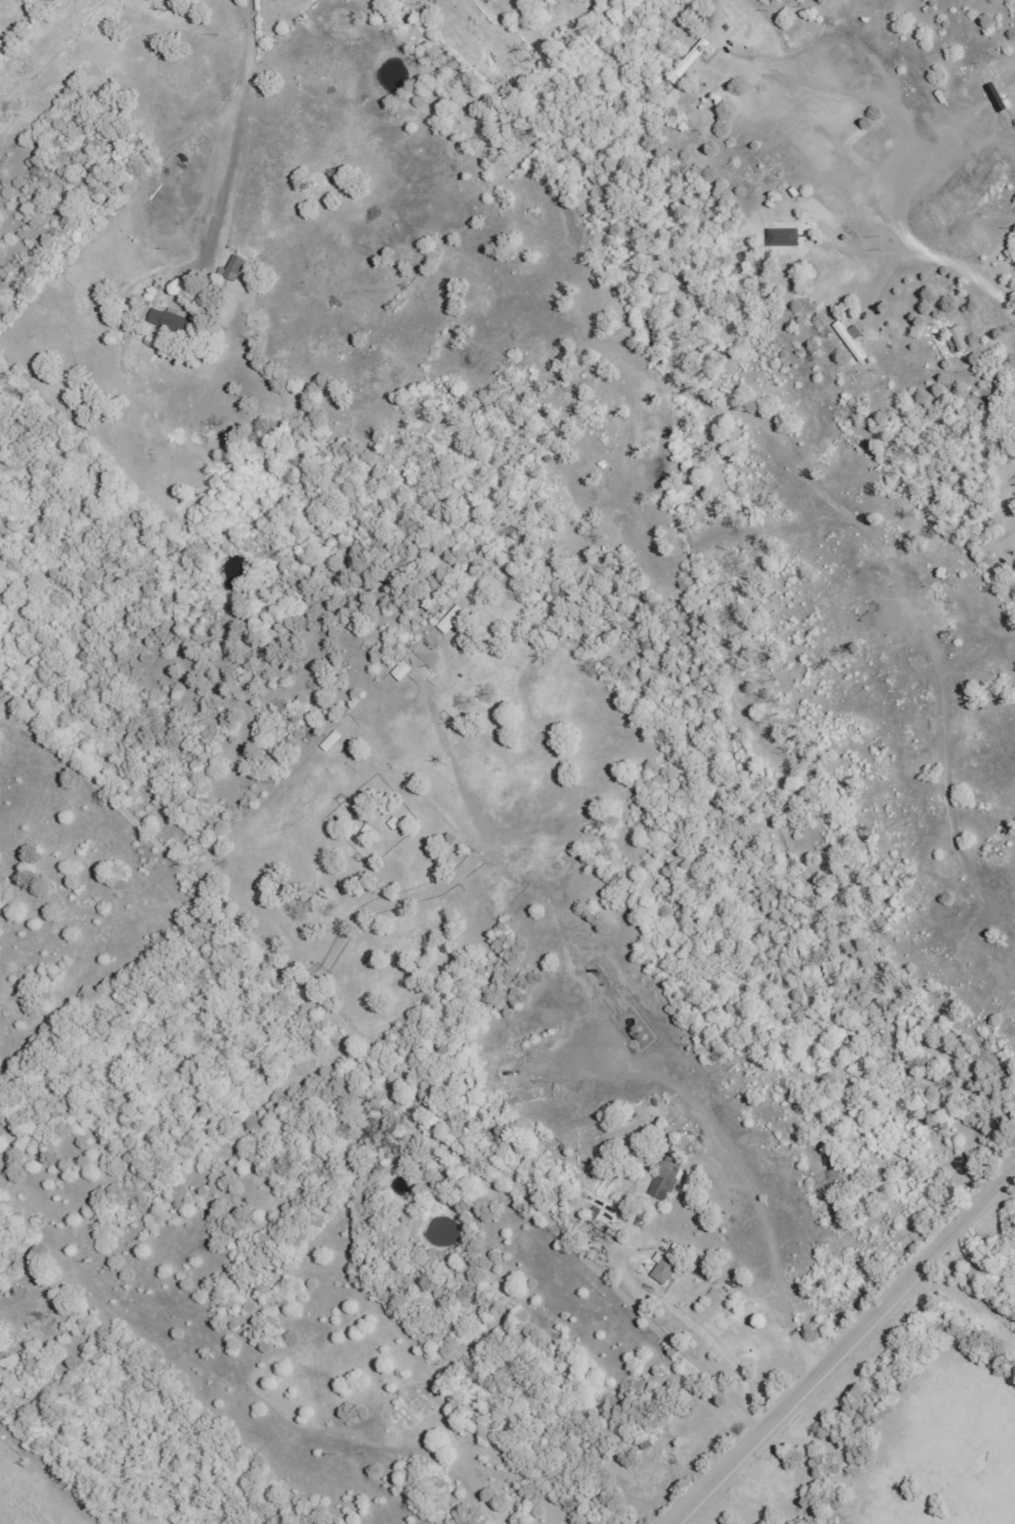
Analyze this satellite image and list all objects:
building: (694, 57)
road: (841, 91)
road: (237, 138)
road: (911, 239)
building: (235, 268)
building: (174, 320)
building: (961, 338)
building: (853, 339)
building: (453, 619)
building: (404, 671)
building: (333, 740)
building: (397, 822)
road: (383, 1060)
building: (670, 1172)
building: (676, 1250)
building: (666, 1268)
road: (409, 1292)
road: (842, 1346)
road: (68, 1475)

